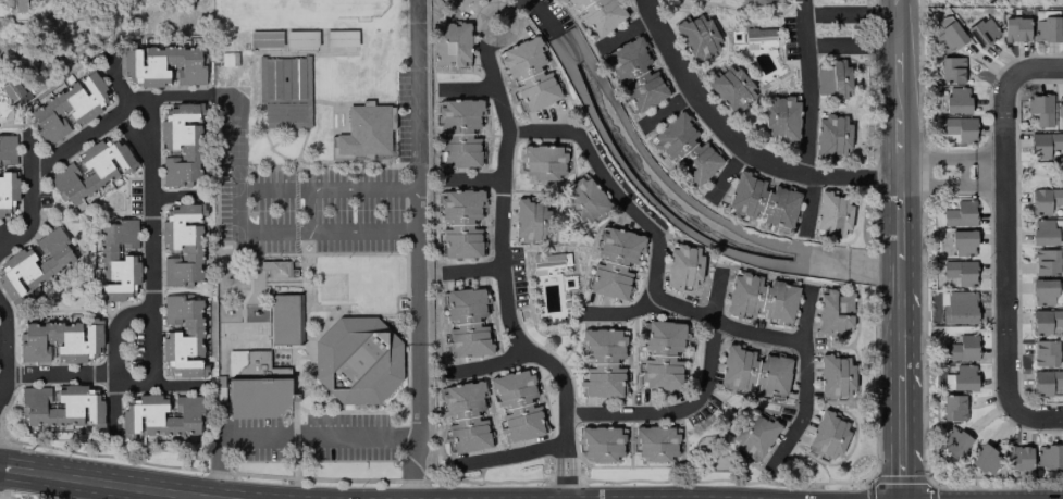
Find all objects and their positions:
building: (756, 0)
building: (457, 3)
building: (18, 5)
road: (502, 9)
building: (597, 13)
building: (1062, 22)
road: (853, 27)
building: (1015, 28)
building: (1045, 28)
building: (763, 30)
building: (981, 30)
building: (947, 33)
building: (696, 36)
building: (341, 37)
building: (300, 38)
building: (264, 39)
building: (450, 43)
building: (163, 65)
road: (1038, 67)
building: (951, 68)
building: (529, 73)
building: (634, 74)
building: (832, 78)
road: (469, 82)
building: (731, 87)
building: (11, 89)
building: (284, 91)
building: (956, 99)
road: (1015, 102)
building: (69, 107)
road: (667, 107)
building: (1040, 108)
building: (1059, 108)
building: (781, 116)
road: (812, 116)
road: (116, 117)
building: (960, 127)
building: (366, 129)
building: (459, 132)
road: (727, 133)
building: (831, 135)
road: (235, 137)
building: (181, 144)
building: (1043, 144)
building: (7, 148)
building: (685, 148)
building: (542, 161)
building: (91, 169)
road: (938, 172)
road: (989, 172)
road: (474, 177)
building: (7, 192)
road: (32, 195)
road: (180, 197)
building: (585, 199)
building: (1045, 199)
building: (762, 200)
road: (307, 212)
road: (238, 213)
building: (960, 213)
building: (831, 214)
road: (153, 215)
building: (530, 220)
building: (460, 222)
building: (1042, 232)
road: (1003, 240)
building: (962, 241)
road: (657, 242)
building: (182, 244)
road: (420, 249)
road: (901, 249)
building: (552, 257)
building: (116, 259)
building: (614, 261)
building: (1046, 261)
building: (34, 264)
building: (682, 265)
building: (280, 267)
road: (507, 267)
road: (475, 271)
building: (960, 271)
road: (1016, 277)
building: (1042, 291)
building: (761, 297)
building: (959, 307)
road: (623, 310)
building: (832, 312)
building: (283, 319)
building: (1047, 321)
building: (466, 323)
building: (183, 336)
building: (60, 340)
road: (8, 345)
building: (961, 348)
building: (1045, 352)
building: (662, 354)
building: (356, 360)
road: (114, 362)
building: (602, 362)
road: (485, 367)
building: (753, 371)
road: (61, 372)
building: (835, 375)
road: (807, 376)
building: (960, 378)
building: (1046, 381)
road: (160, 383)
building: (255, 385)
road: (699, 400)
building: (516, 403)
building: (61, 404)
building: (952, 407)
building: (160, 414)
building: (465, 415)
road: (1037, 416)
building: (754, 435)
building: (827, 435)
road: (293, 437)
building: (952, 441)
building: (600, 442)
building: (655, 442)
road: (512, 454)
building: (1048, 456)
building: (1017, 457)
building: (985, 459)
road: (18, 469)
road: (131, 485)

